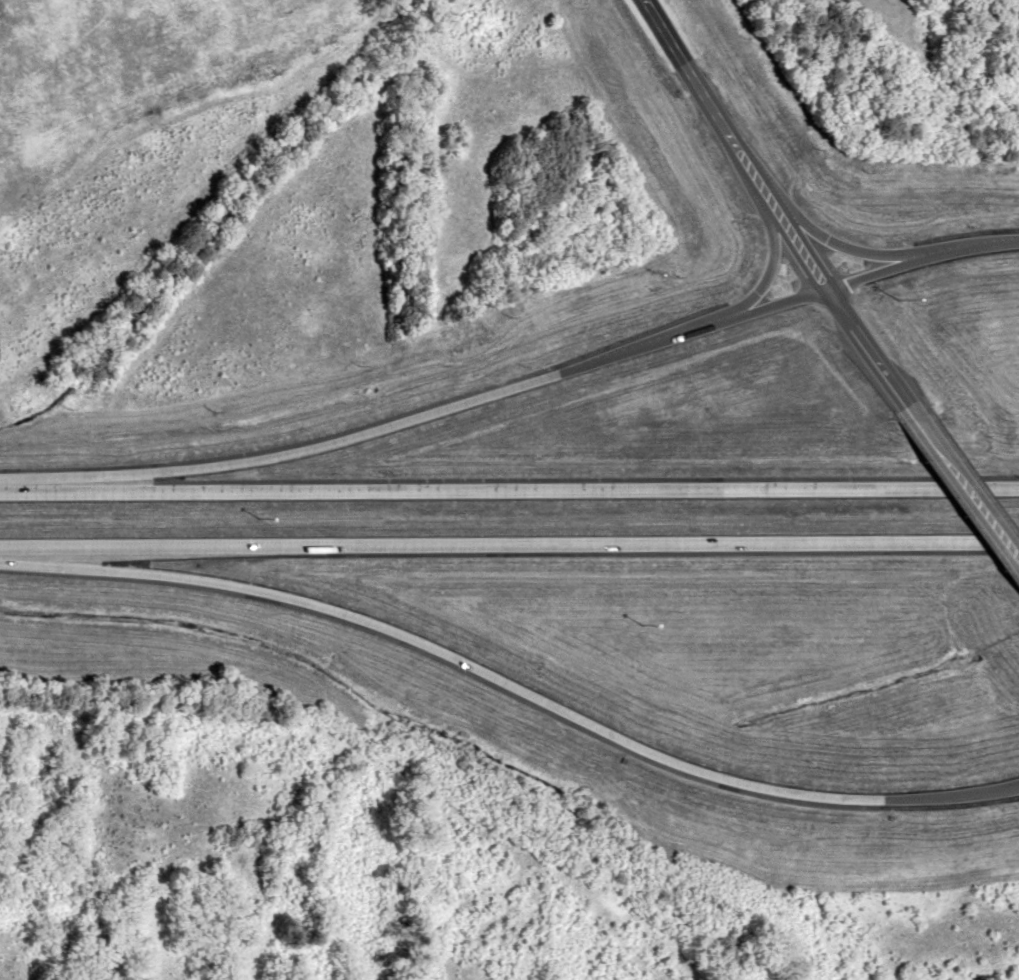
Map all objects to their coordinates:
road: (778, 208)
road: (848, 243)
road: (768, 264)
road: (513, 384)
road: (509, 487)
road: (964, 493)
road: (509, 547)
road: (509, 689)

